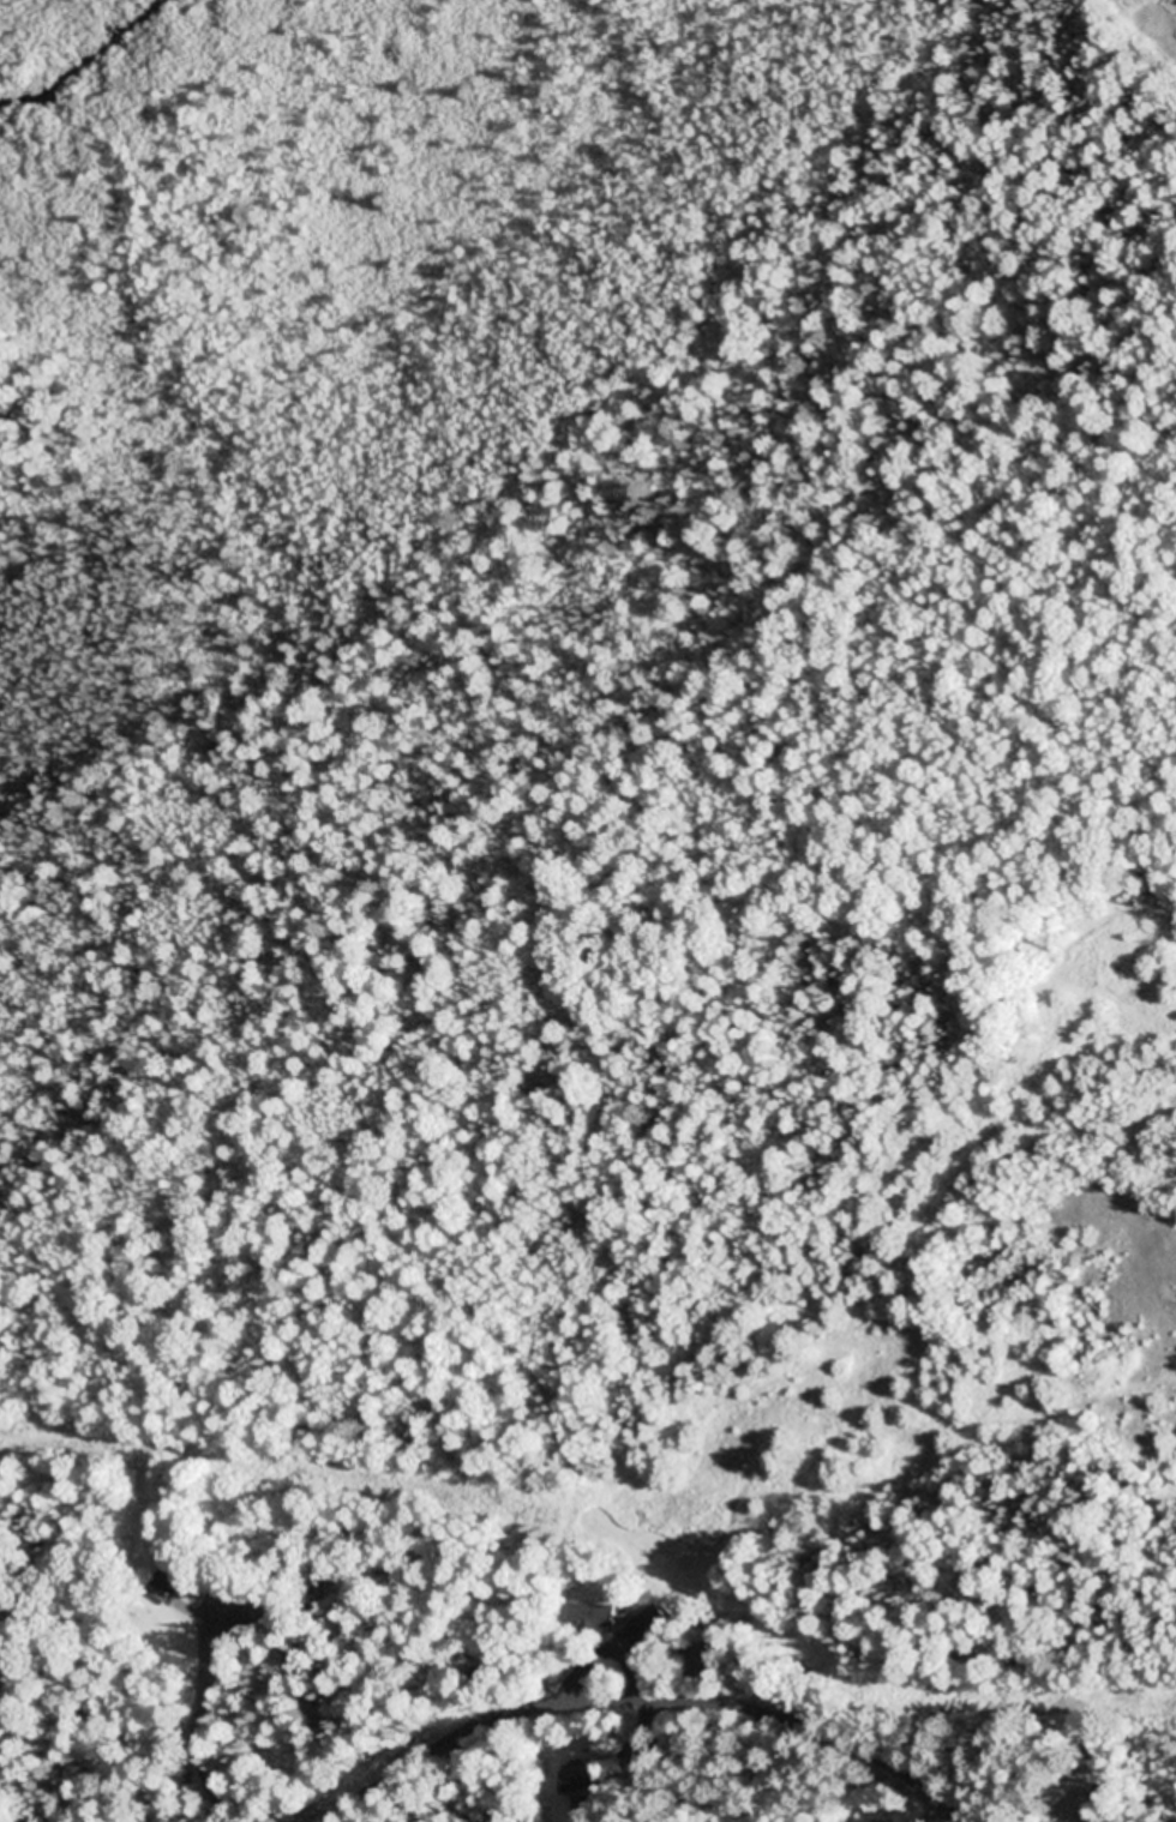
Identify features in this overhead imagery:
building: (169, 1586)
building: (593, 1620)
building: (652, 1625)
road: (654, 1706)
building: (647, 1764)
road: (6, 1775)
building: (588, 1787)

